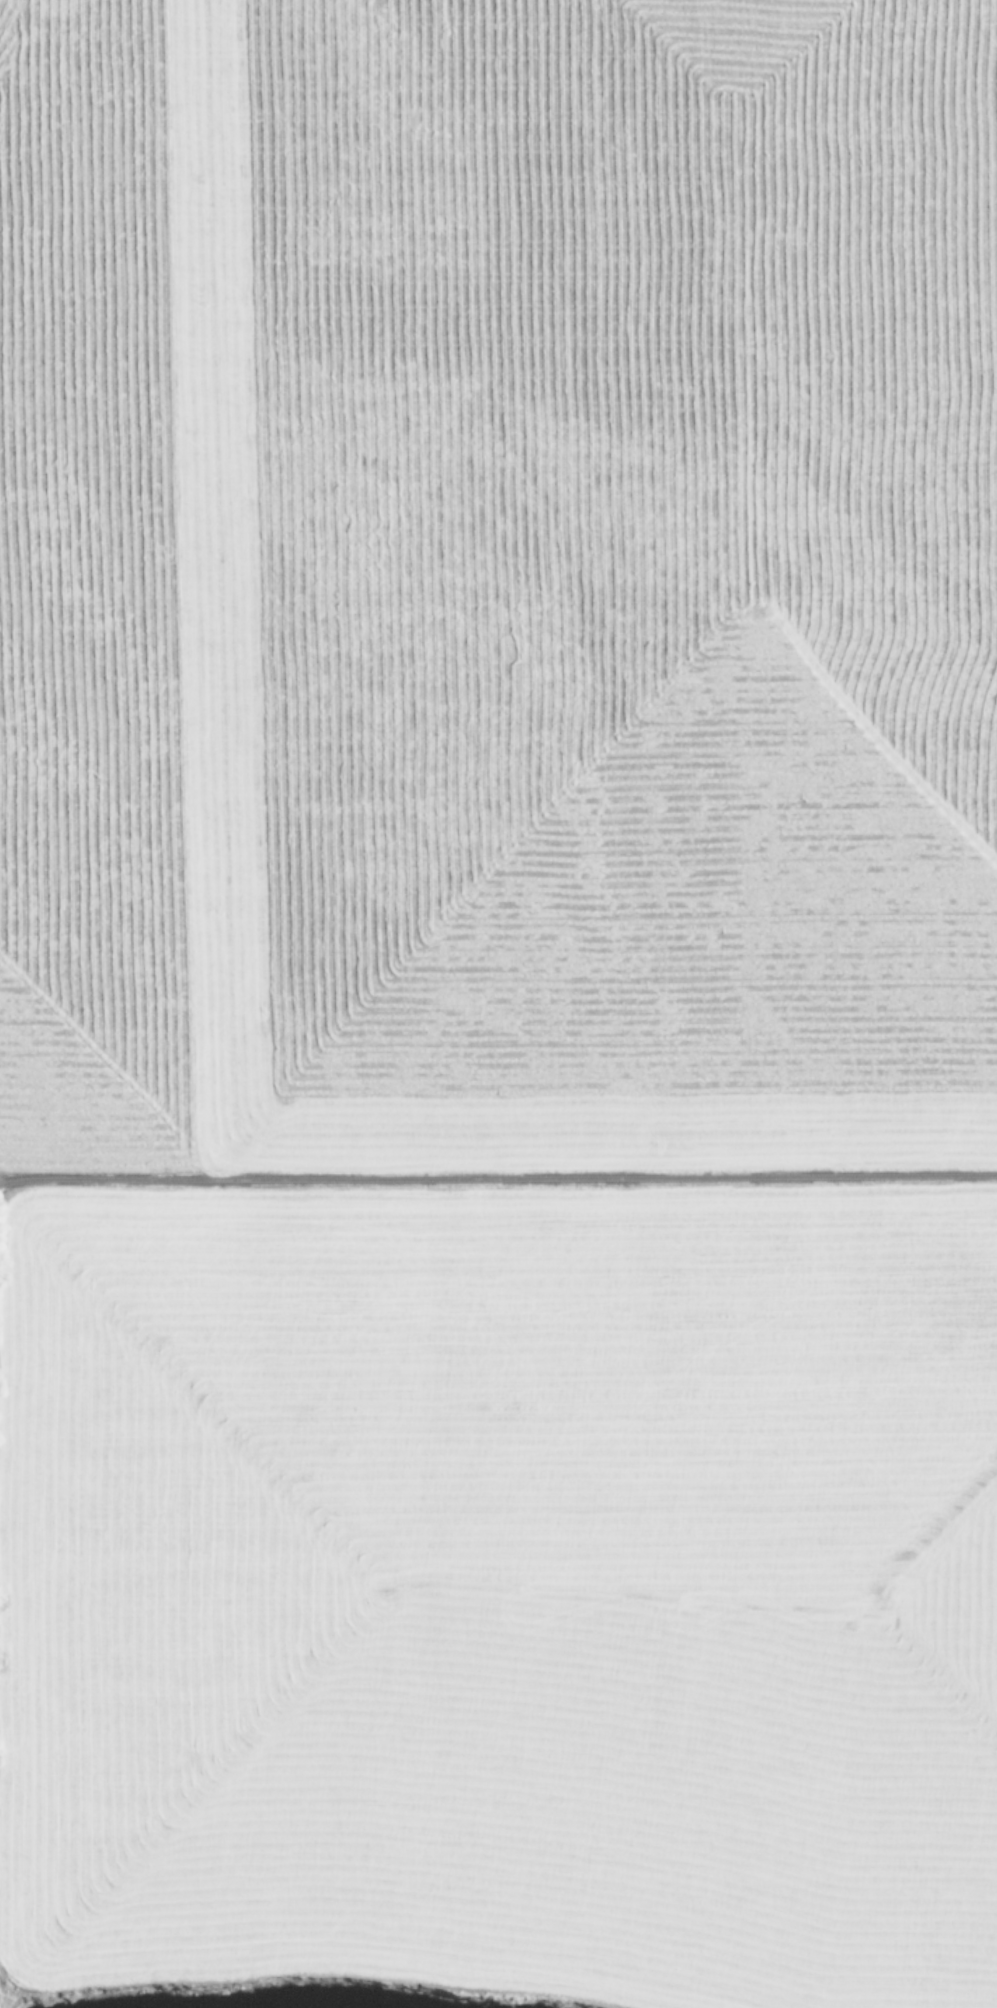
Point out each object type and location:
crop: (498, 1003)
road: (498, 1179)

